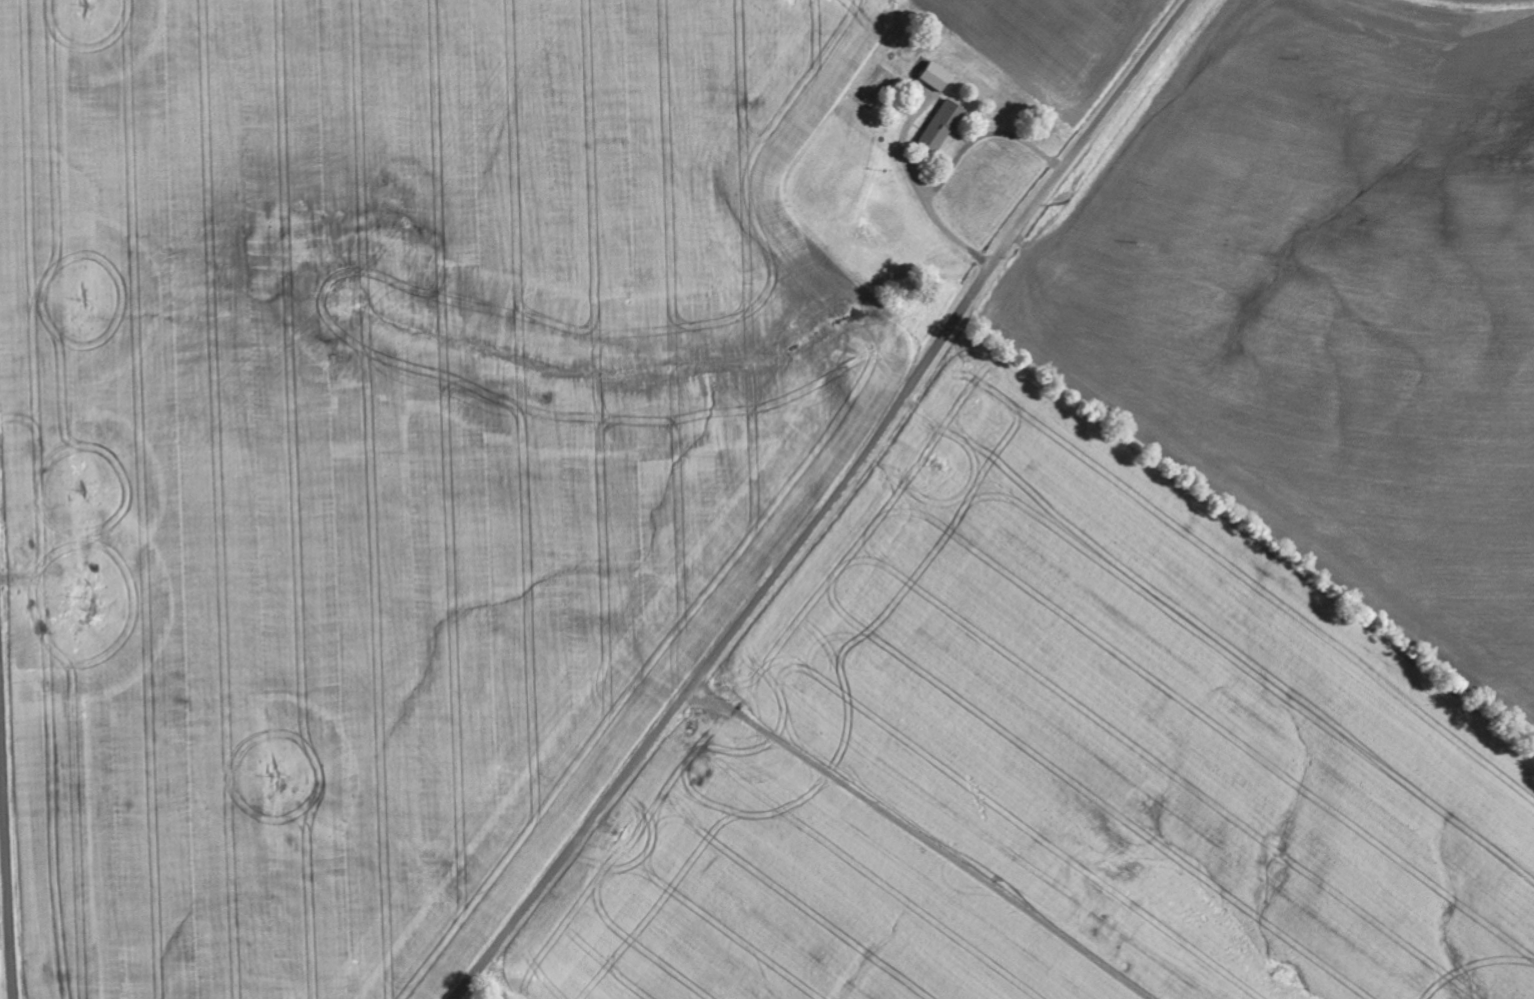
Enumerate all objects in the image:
building: (933, 78)
building: (939, 128)
road: (828, 503)
road: (921, 839)
road: (7, 842)

